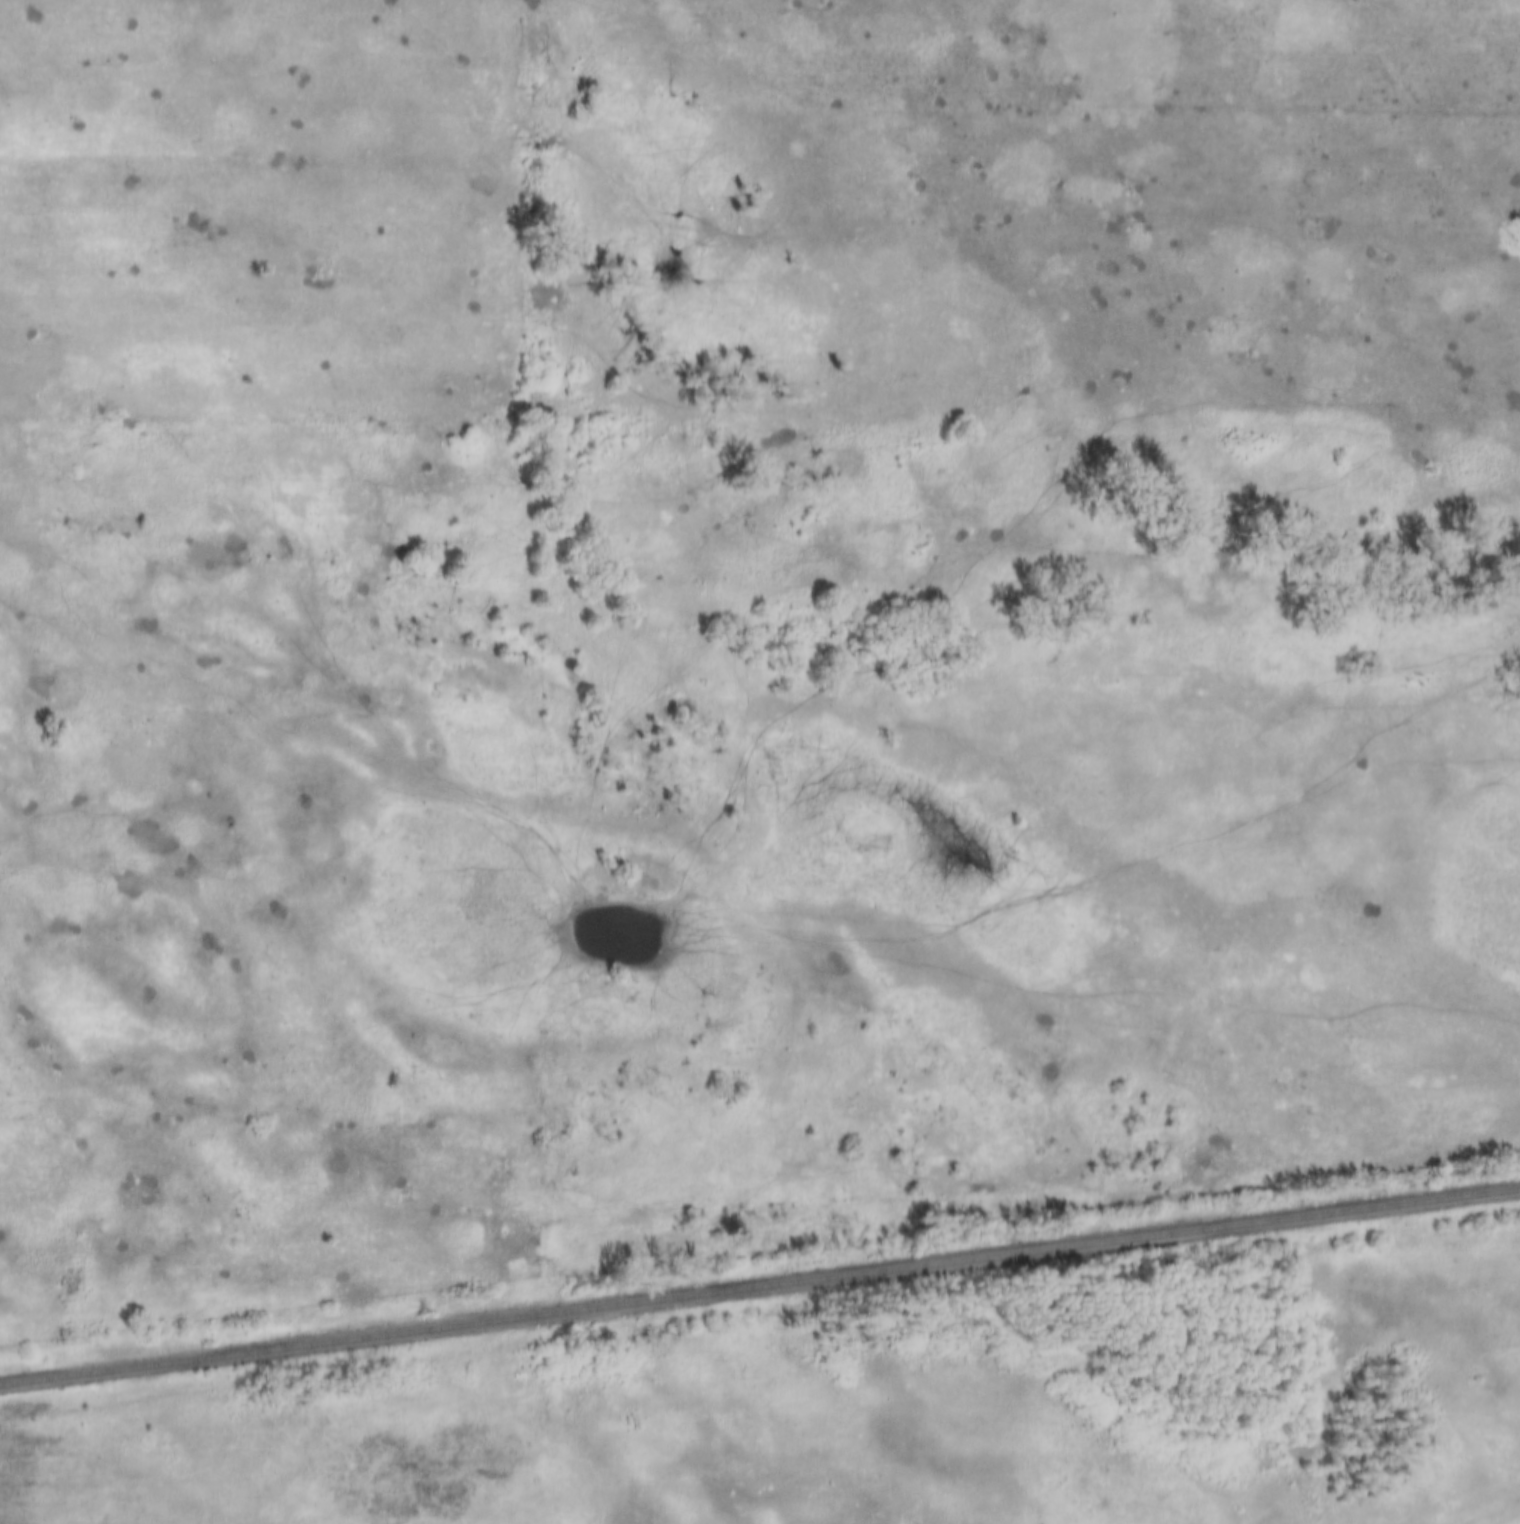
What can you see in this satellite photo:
railway: (760, 1285)

